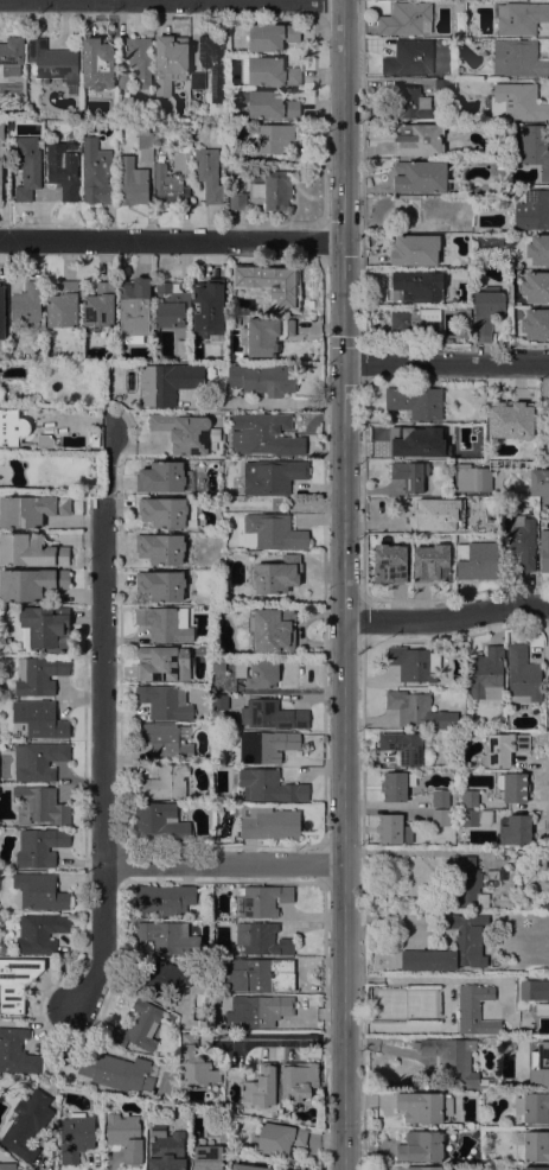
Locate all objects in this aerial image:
building: (521, 17)
building: (406, 19)
building: (273, 36)
building: (12, 55)
building: (409, 57)
building: (139, 58)
building: (518, 58)
building: (170, 62)
building: (55, 63)
building: (97, 63)
building: (212, 63)
building: (272, 71)
building: (123, 80)
building: (197, 80)
building: (442, 85)
building: (516, 101)
building: (413, 102)
building: (272, 104)
building: (1, 131)
building: (276, 138)
building: (419, 139)
building: (145, 141)
building: (534, 147)
building: (238, 157)
building: (181, 159)
building: (27, 167)
building: (63, 168)
building: (96, 172)
building: (209, 174)
building: (421, 176)
building: (132, 182)
building: (0, 183)
building: (168, 185)
building: (274, 189)
building: (237, 199)
building: (408, 209)
building: (532, 210)
building: (441, 223)
building: (475, 237)
road: (171, 239)
building: (415, 249)
building: (538, 249)
building: (275, 284)
building: (404, 284)
building: (536, 287)
building: (1, 295)
building: (452, 295)
building: (206, 297)
building: (27, 303)
building: (171, 304)
building: (64, 305)
building: (100, 305)
building: (135, 306)
building: (466, 310)
building: (486, 312)
building: (415, 322)
building: (536, 324)
building: (219, 331)
building: (4, 333)
building: (267, 335)
building: (183, 348)
road: (445, 362)
building: (263, 377)
building: (167, 382)
building: (1, 394)
building: (415, 401)
building: (37, 402)
road: (267, 402)
building: (511, 419)
building: (12, 426)
building: (183, 431)
building: (264, 434)
building: (94, 439)
building: (402, 439)
building: (46, 440)
building: (465, 451)
building: (410, 473)
building: (273, 476)
building: (164, 477)
building: (472, 477)
building: (540, 484)
building: (31, 509)
building: (168, 511)
building: (436, 515)
building: (272, 532)
building: (521, 539)
building: (161, 548)
building: (544, 549)
building: (31, 551)
building: (475, 561)
building: (432, 562)
building: (390, 564)
building: (274, 574)
building: (31, 583)
building: (161, 585)
road: (341, 585)
road: (446, 618)
building: (165, 623)
building: (47, 627)
building: (272, 629)
building: (162, 663)
building: (414, 663)
building: (217, 665)
building: (258, 673)
building: (487, 673)
building: (40, 674)
building: (526, 675)
building: (165, 701)
building: (218, 706)
building: (419, 711)
building: (272, 714)
building: (40, 719)
road: (102, 719)
building: (166, 739)
building: (268, 745)
building: (403, 746)
building: (503, 748)
building: (39, 759)
building: (164, 781)
building: (396, 784)
building: (269, 786)
building: (513, 786)
building: (440, 797)
building: (470, 797)
building: (39, 805)
building: (440, 816)
building: (475, 816)
building: (160, 822)
building: (269, 822)
building: (394, 828)
building: (515, 828)
building: (40, 846)
building: (537, 859)
road: (223, 861)
building: (470, 883)
building: (40, 891)
building: (165, 898)
building: (261, 899)
building: (496, 903)
building: (543, 907)
building: (14, 916)
building: (526, 922)
building: (40, 933)
building: (168, 936)
building: (260, 937)
building: (467, 937)
building: (2, 948)
building: (260, 973)
building: (164, 979)
building: (17, 981)
building: (534, 988)
building: (541, 1007)
building: (475, 1009)
building: (260, 1010)
building: (142, 1025)
road: (279, 1038)
building: (507, 1039)
building: (17, 1051)
building: (196, 1062)
building: (455, 1062)
building: (534, 1064)
building: (119, 1072)
building: (299, 1079)
building: (261, 1087)
building: (424, 1106)
building: (534, 1107)
building: (26, 1124)
building: (127, 1134)
building: (77, 1136)
building: (280, 1138)
building: (422, 1145)
building: (531, 1145)
building: (167, 1150)
building: (209, 1157)
building: (8, 1165)
building: (248, 1166)
building: (417, 1168)
building: (536, 1168)
building: (281, 1169)

